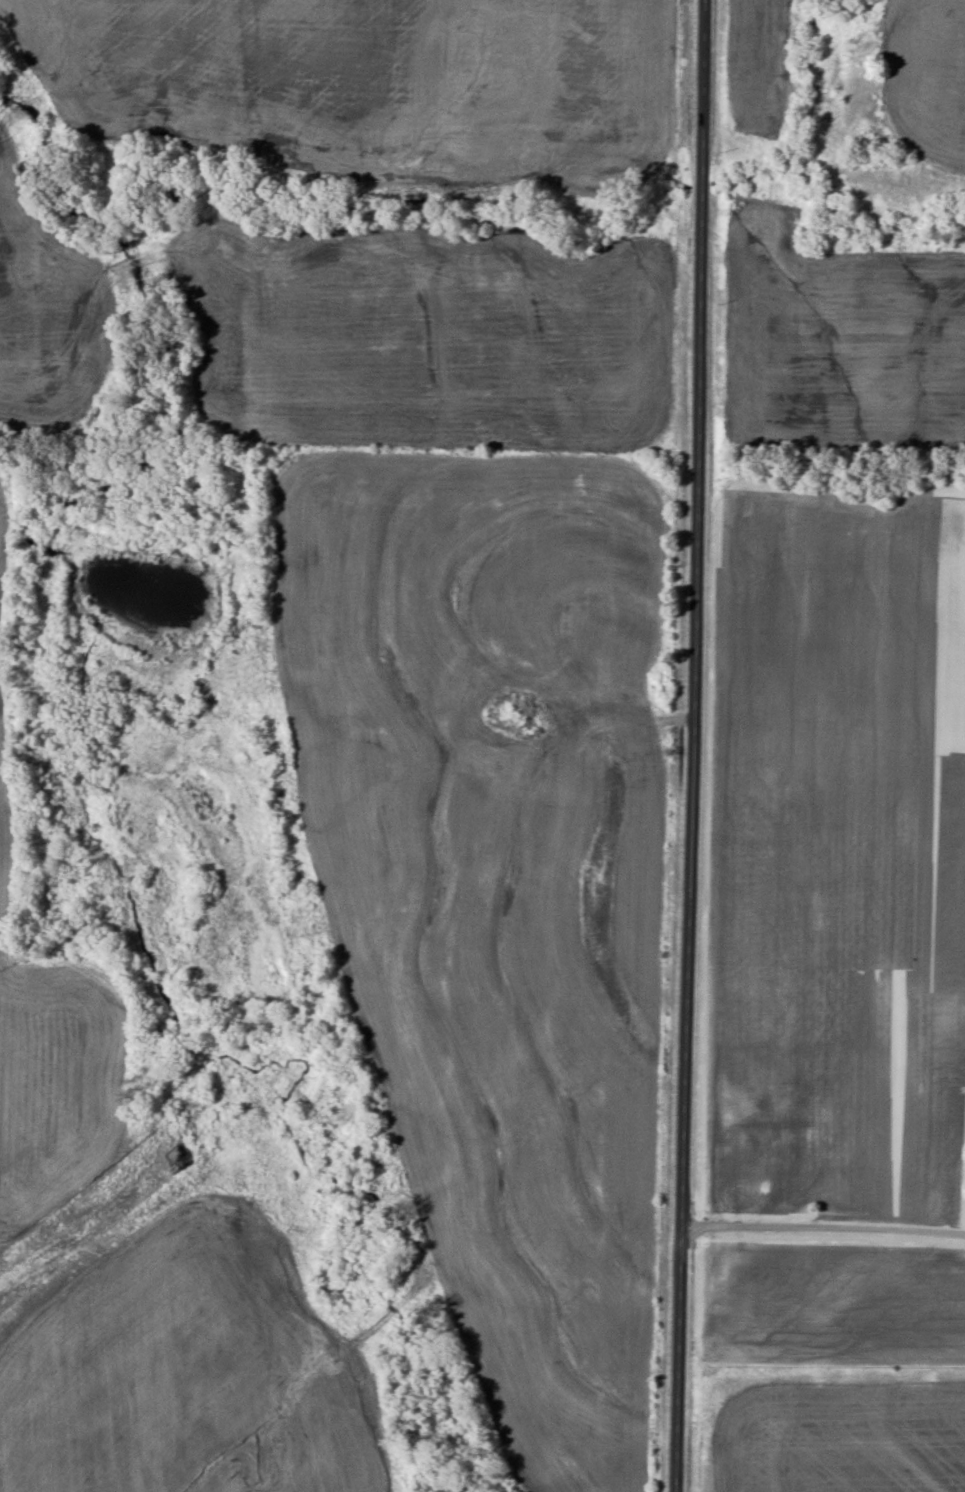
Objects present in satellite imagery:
building: (504, 713)
road: (689, 745)
road: (824, 1228)

